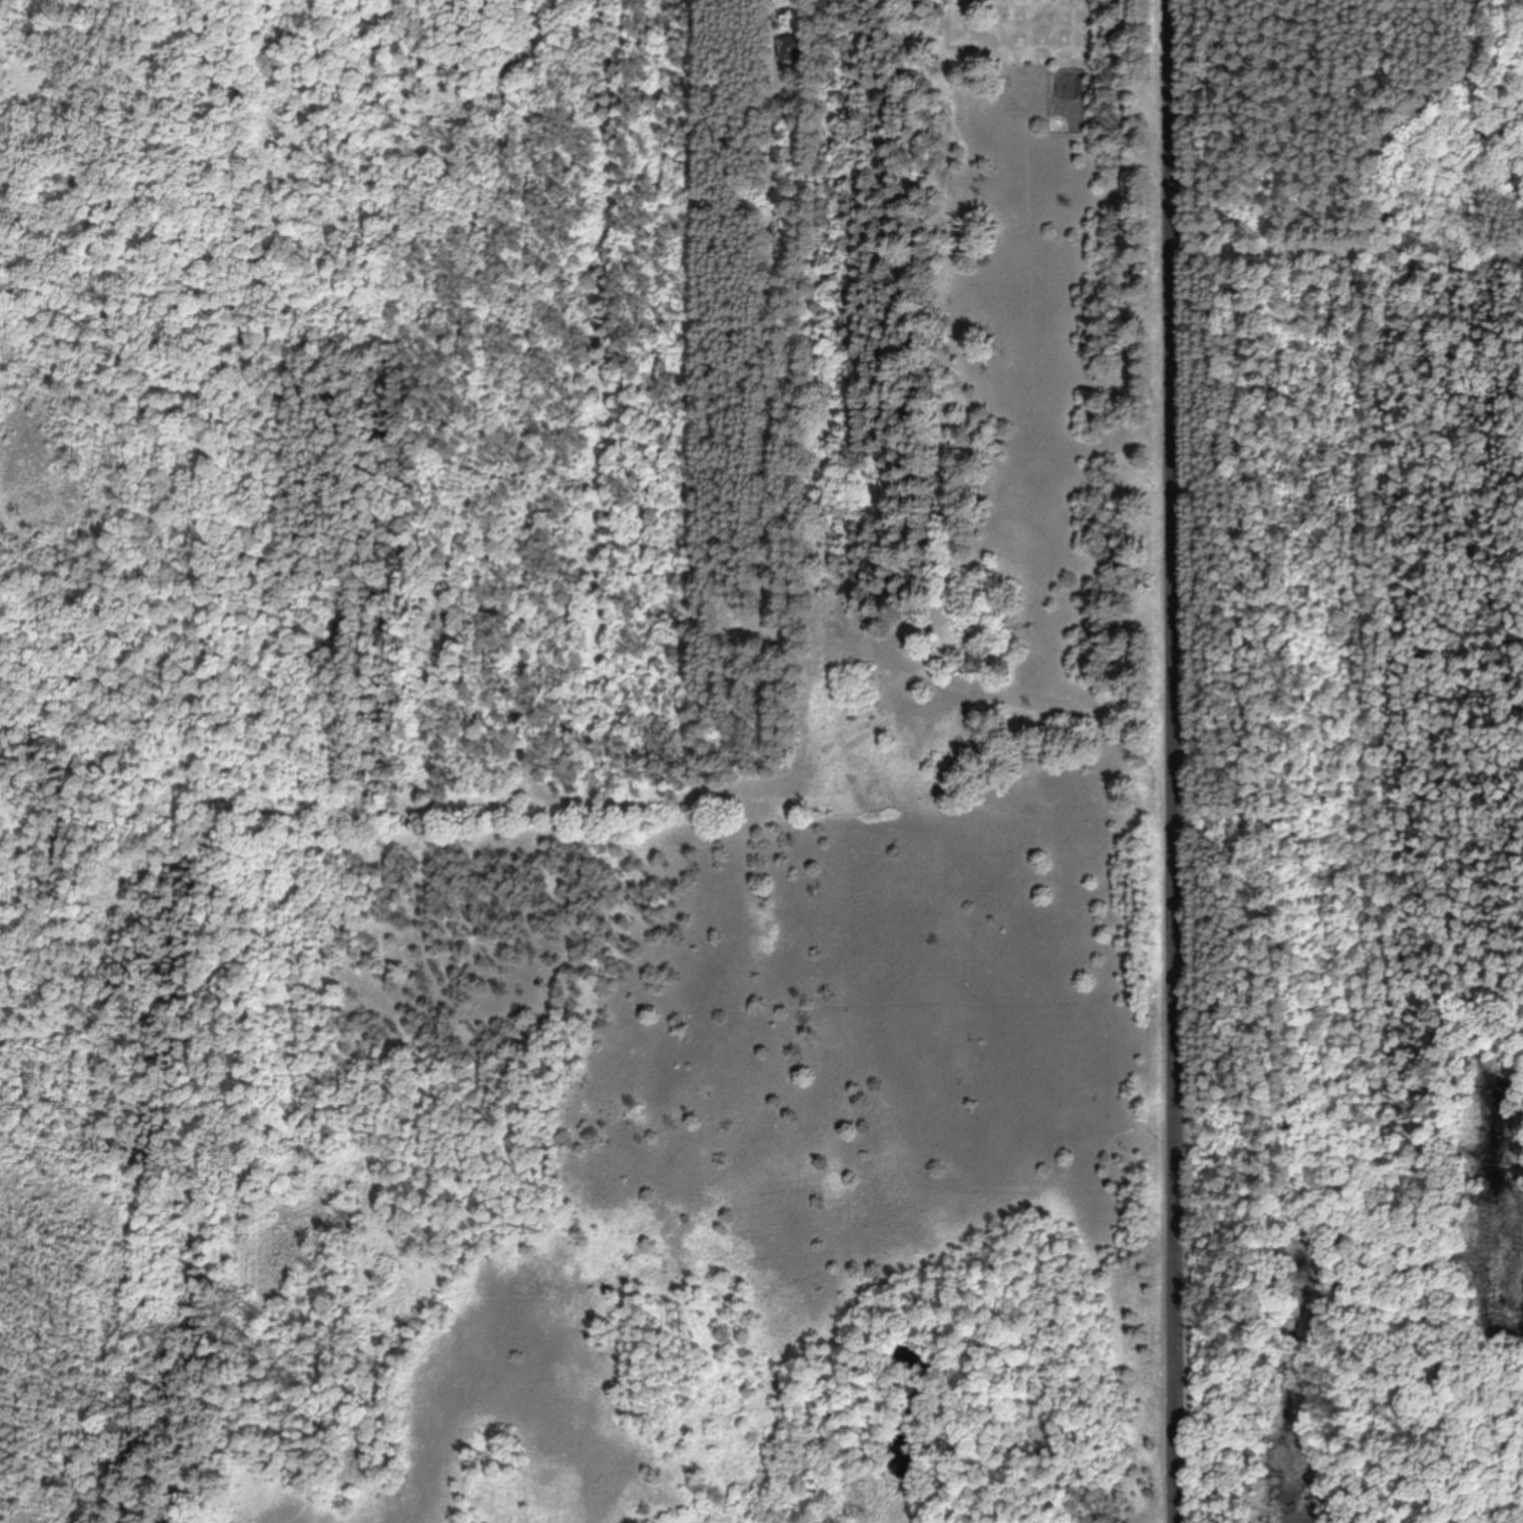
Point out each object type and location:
road: (1421, 129)
road: (1349, 253)
building: (973, 663)
park: (1342, 754)
road: (1178, 761)

